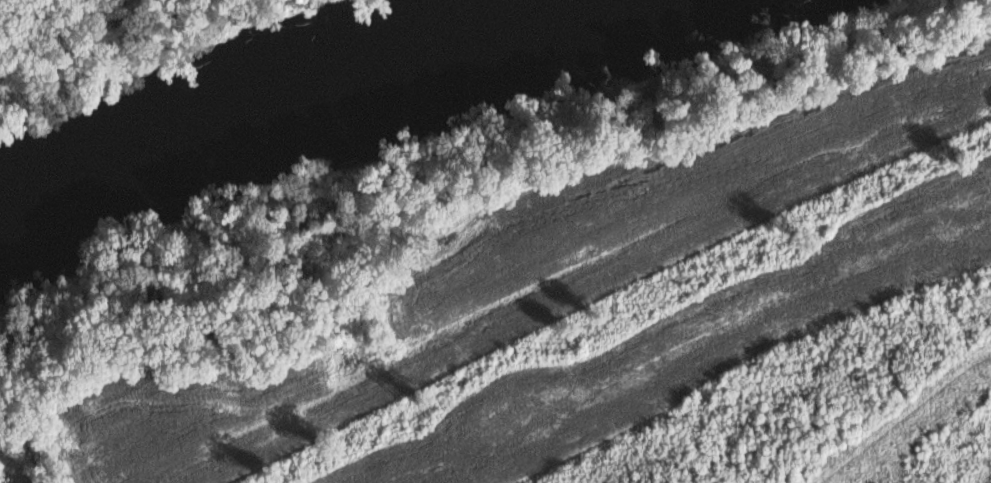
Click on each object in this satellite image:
river: (282, 97)

